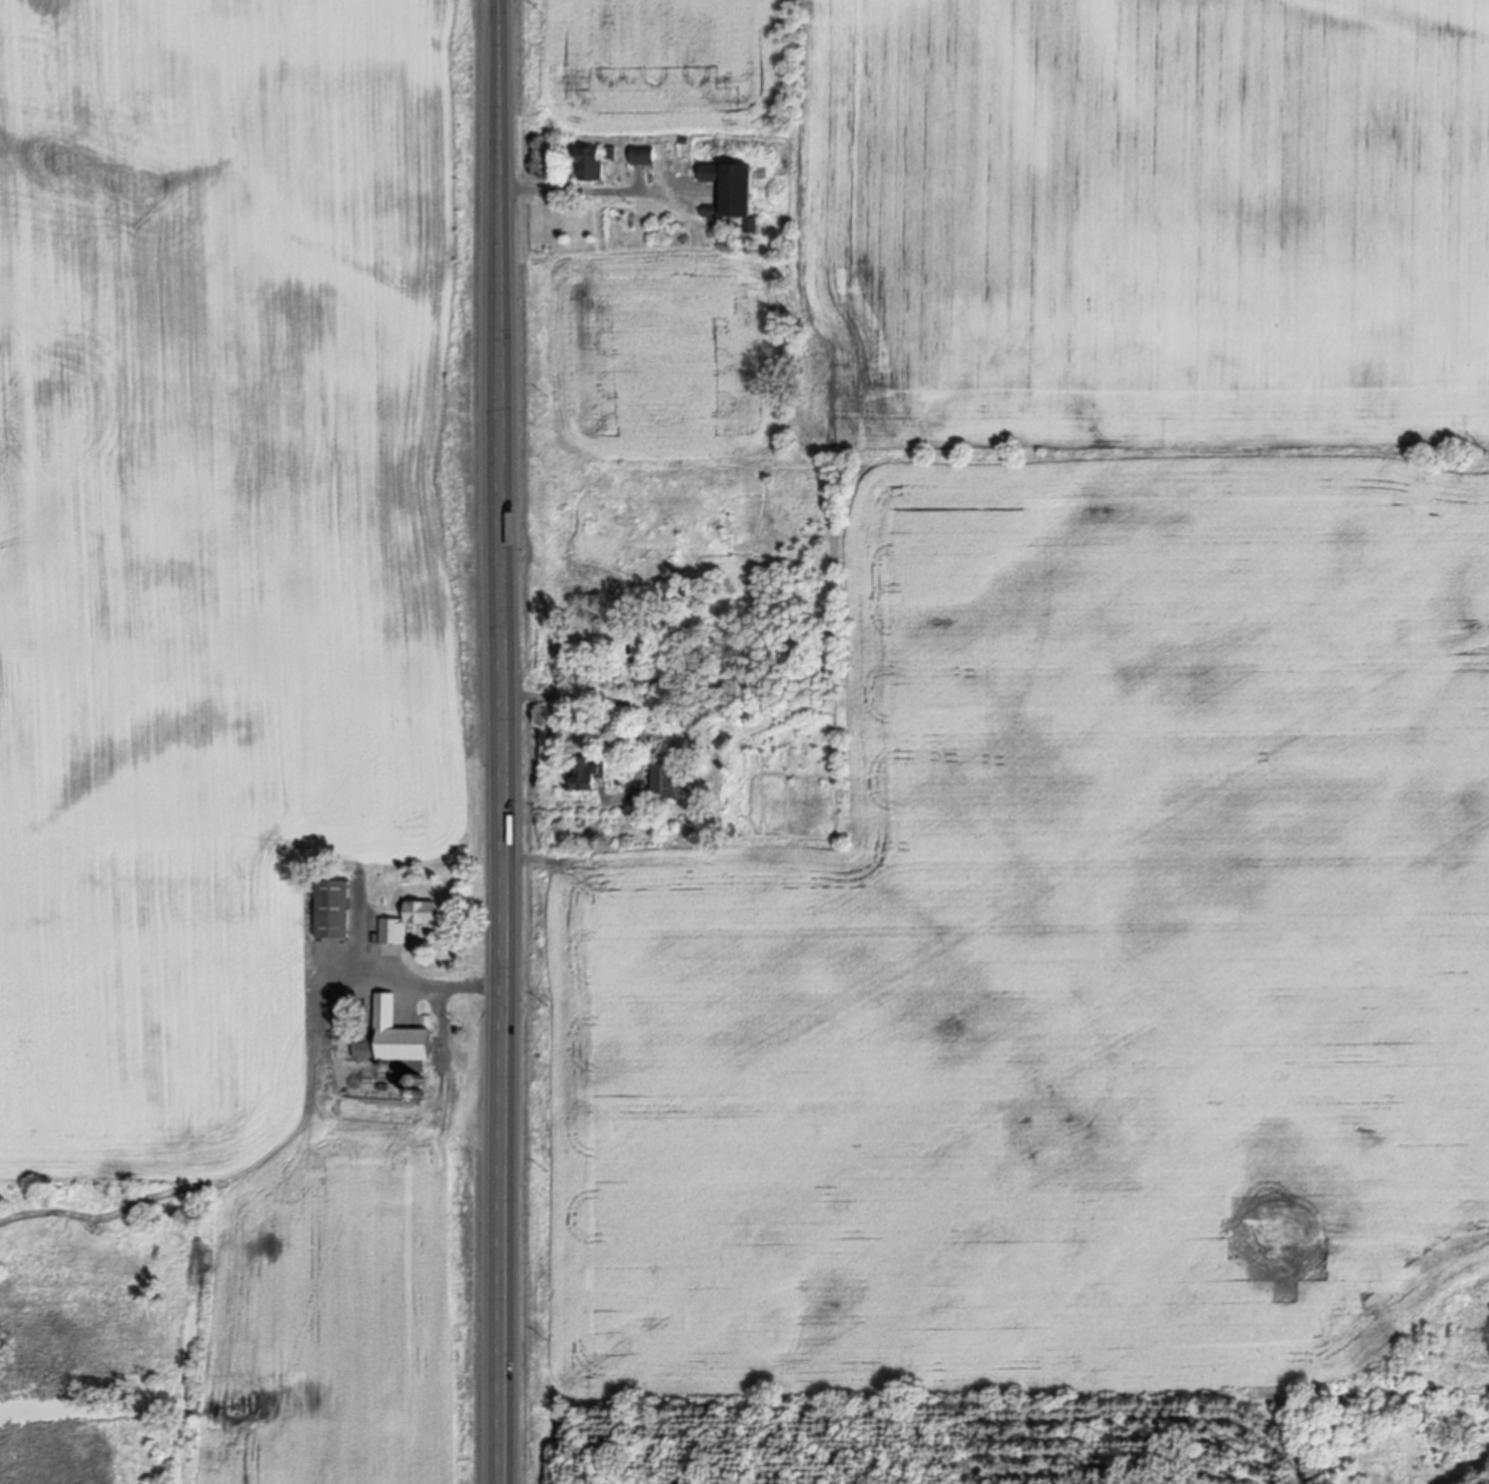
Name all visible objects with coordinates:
building: (686, 141)
building: (613, 154)
building: (644, 156)
building: (591, 167)
road: (576, 195)
building: (733, 196)
building: (768, 221)
building: (675, 700)
road: (509, 741)
road: (643, 748)
building: (590, 778)
building: (666, 785)
building: (863, 833)
building: (334, 913)
building: (413, 925)
building: (427, 1023)
building: (395, 1044)
building: (419, 1094)
building: (419, 1113)
building: (128, 1238)
building: (1432, 1387)

